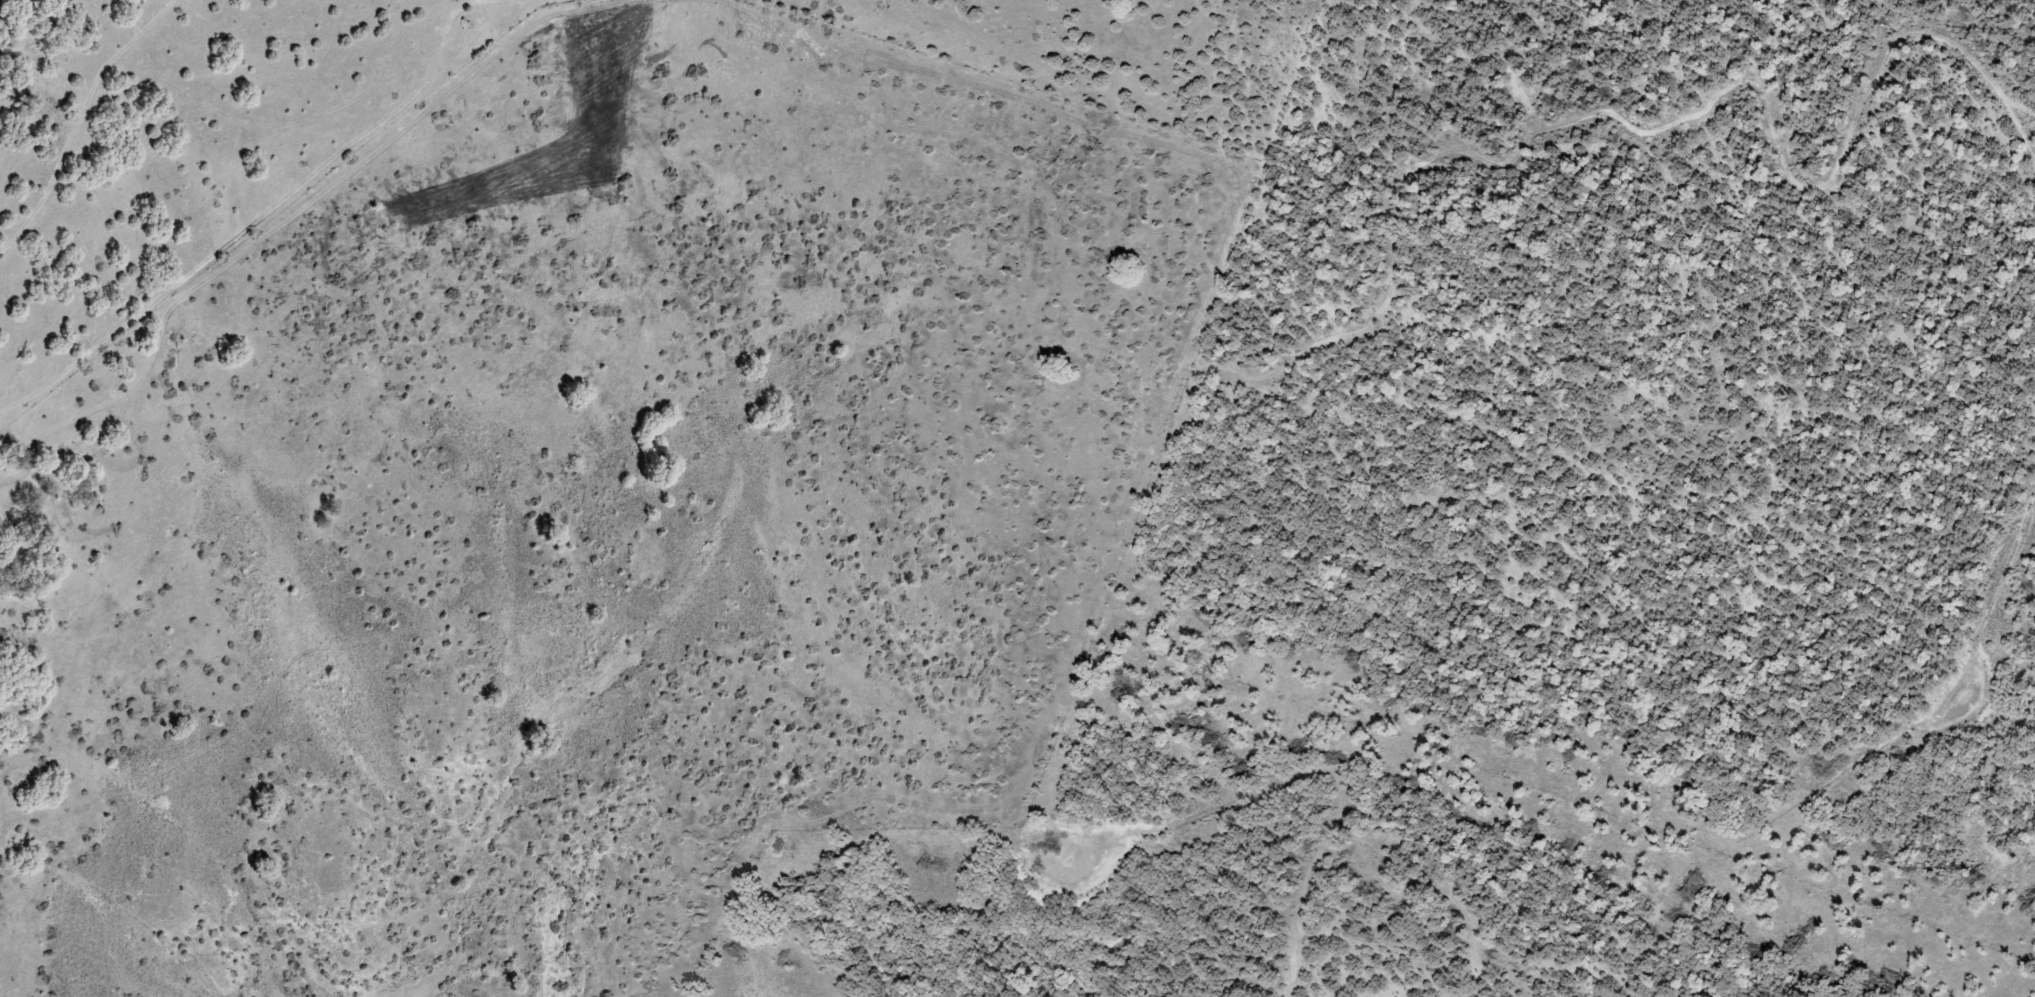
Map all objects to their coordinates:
road: (1974, 74)

